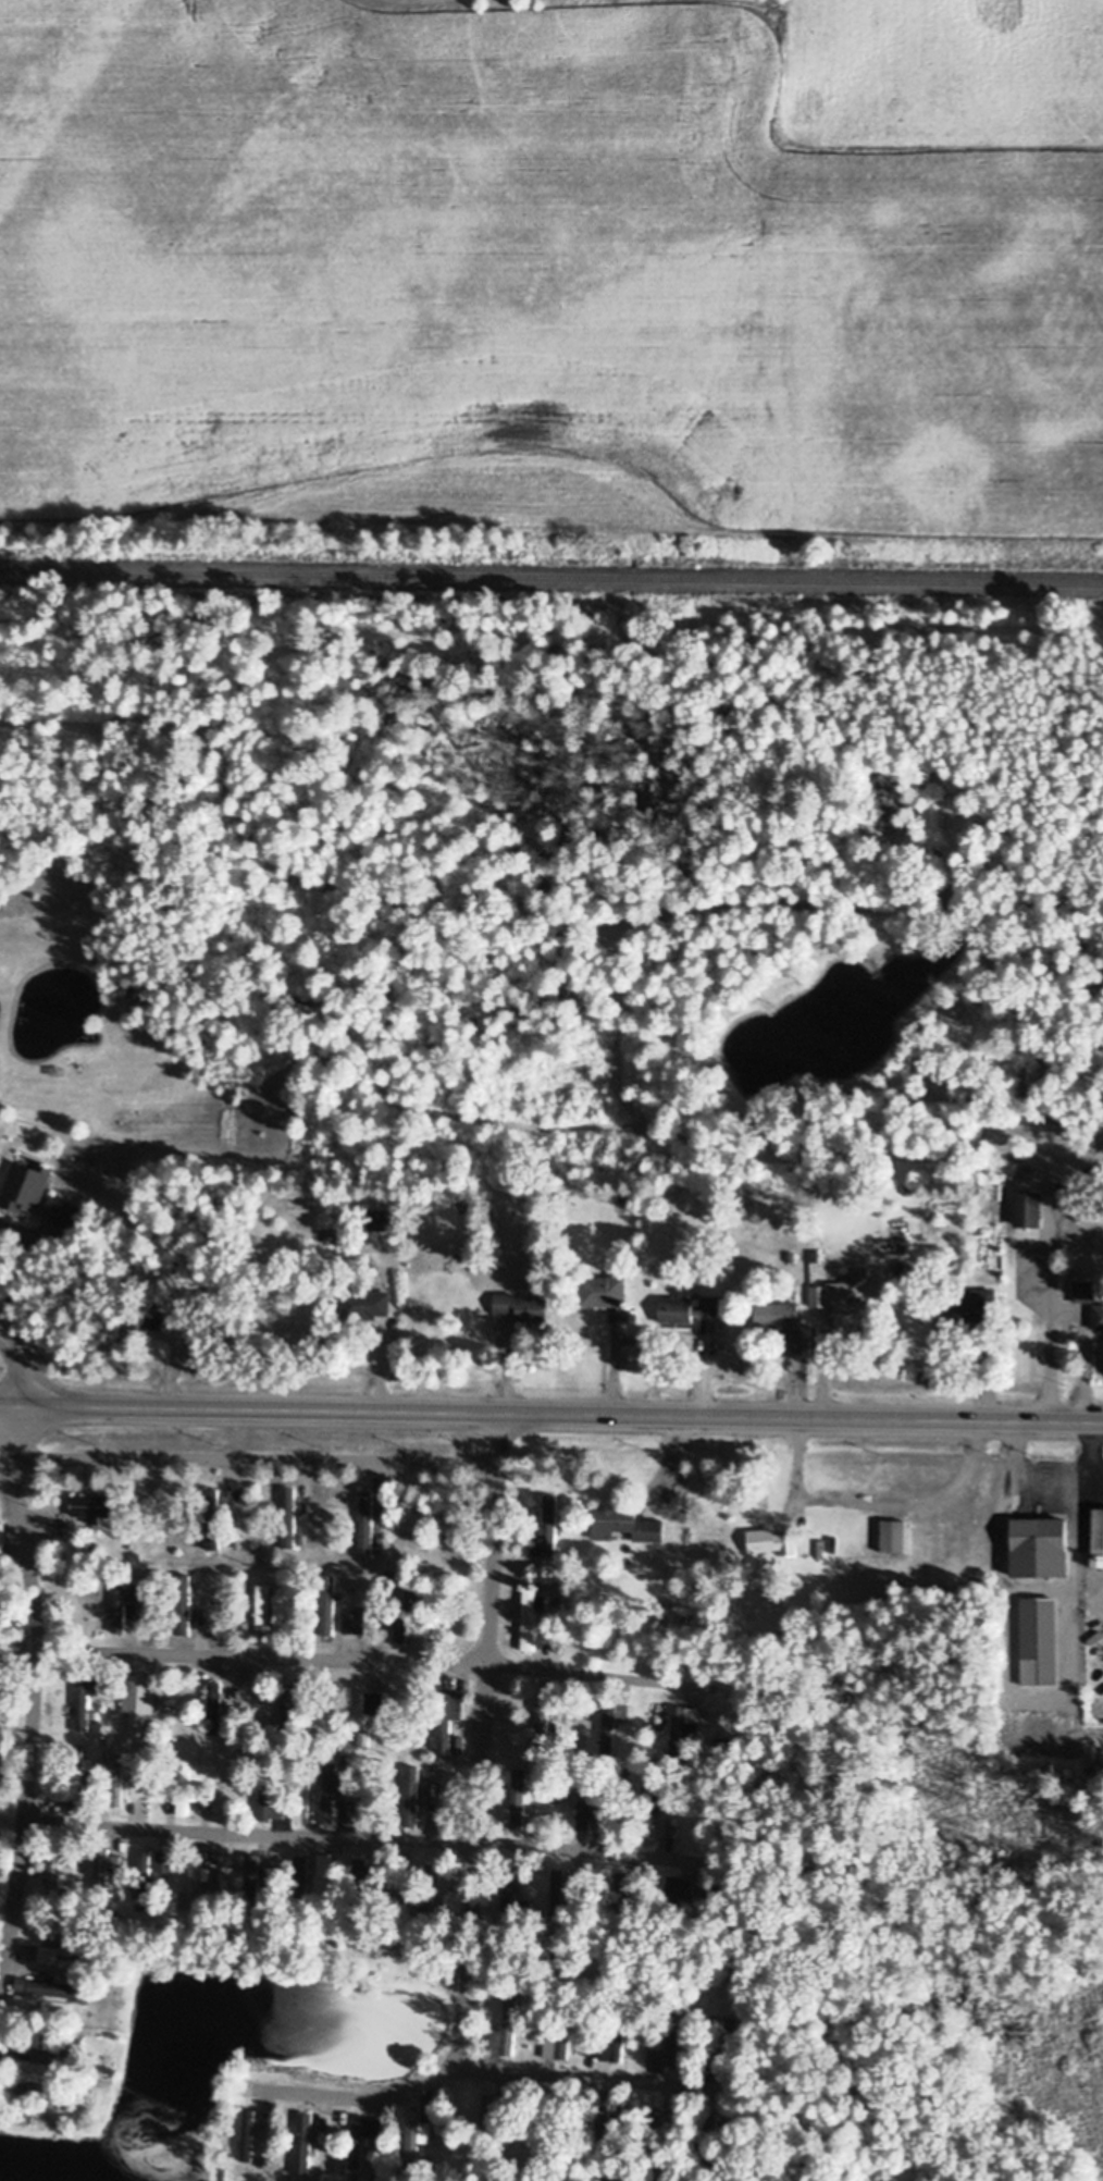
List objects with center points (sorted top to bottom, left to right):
quarry: (457, 2)
railway: (551, 577)
building: (230, 1092)
building: (26, 1186)
building: (1029, 1209)
building: (64, 1212)
building: (379, 1221)
road: (5, 1284)
building: (606, 1291)
building: (1085, 1292)
building: (368, 1304)
building: (838, 1305)
road: (1063, 1305)
building: (522, 1307)
building: (689, 1308)
building: (971, 1309)
building: (778, 1314)
building: (1099, 1318)
road: (21, 1392)
road: (550, 1414)
road: (3, 1459)
road: (251, 1461)
road: (1050, 1473)
road: (869, 1505)
building: (90, 1507)
building: (450, 1515)
building: (289, 1517)
building: (212, 1519)
building: (367, 1521)
building: (627, 1524)
building: (546, 1526)
building: (1099, 1537)
building: (3, 1538)
building: (772, 1540)
building: (1043, 1548)
building: (124, 1599)
building: (182, 1604)
building: (265, 1605)
building: (326, 1611)
building: (355, 1619)
building: (532, 1621)
building: (408, 1629)
building: (1040, 1641)
road: (361, 1658)
building: (88, 1696)
building: (138, 1701)
building: (214, 1708)
building: (618, 1714)
building: (363, 1718)
building: (682, 1726)
building: (543, 1727)
road: (481, 1738)
building: (443, 1740)
building: (76, 1757)
building: (117, 1776)
building: (330, 1794)
building: (409, 1796)
building: (519, 1800)
building: (269, 1803)
building: (588, 1811)
building: (666, 1828)
road: (165, 1829)
building: (145, 1861)
building: (164, 1863)
building: (324, 1864)
building: (302, 1866)
building: (104, 1871)
building: (255, 1875)
building: (53, 1876)
building: (438, 1876)
building: (197, 1878)
building: (560, 1890)
building: (621, 1890)
road: (13, 1896)
building: (528, 1911)
building: (53, 1947)
building: (53, 1988)
building: (28, 2005)
building: (507, 2029)
building: (559, 2044)
building: (611, 2046)
building: (676, 2051)
building: (41, 2058)
road: (484, 2066)
building: (51, 2093)
building: (491, 2117)
building: (249, 2134)
building: (363, 2137)
building: (305, 2144)

